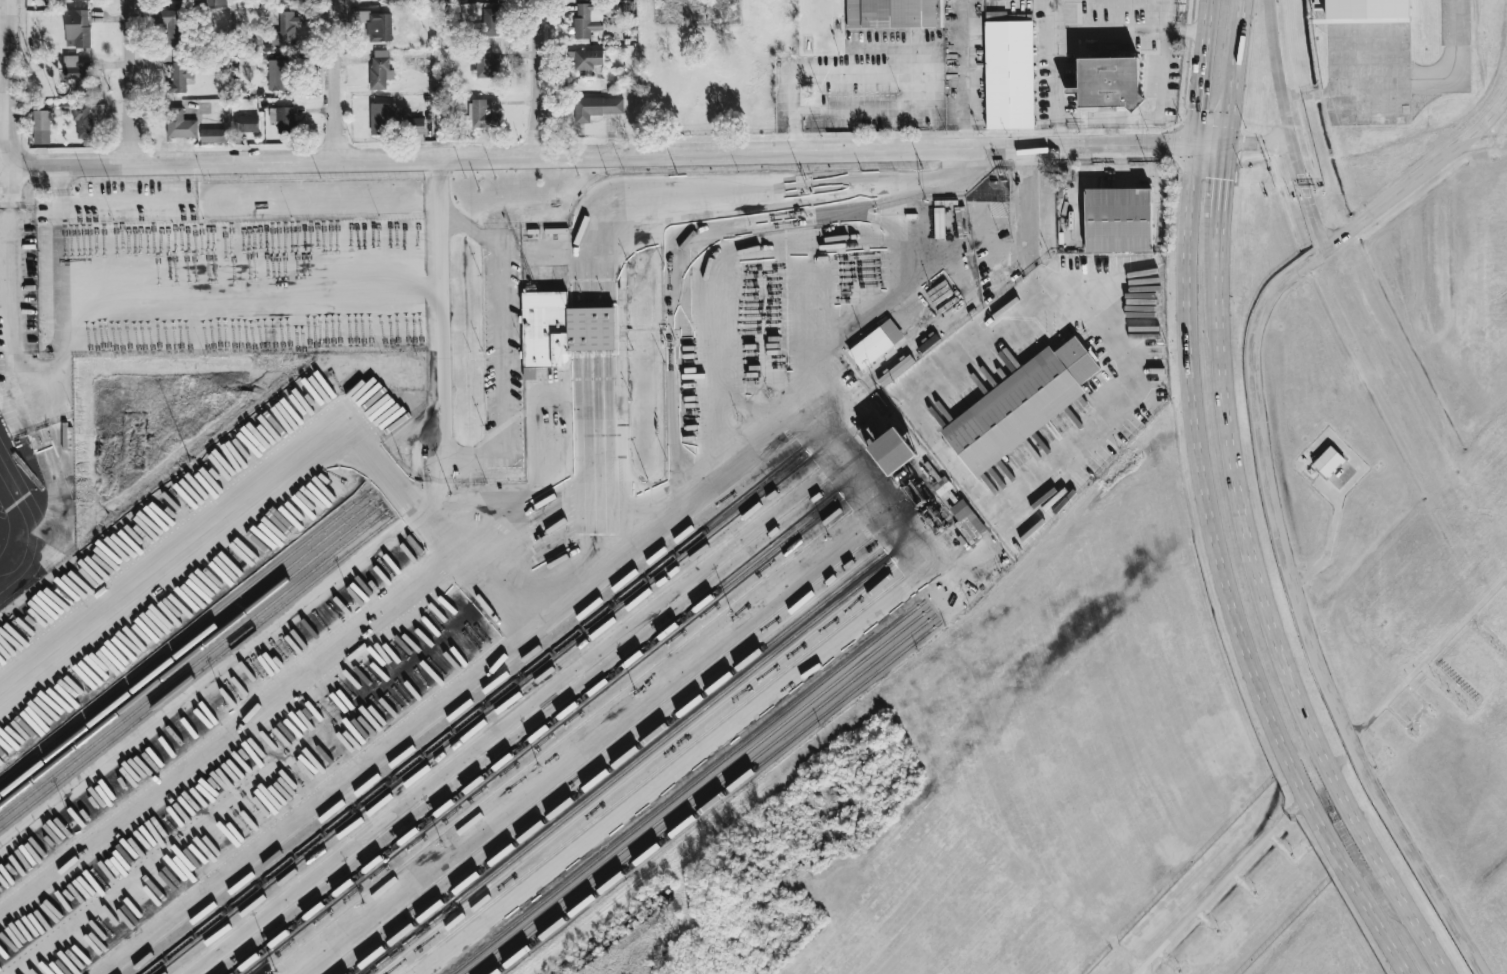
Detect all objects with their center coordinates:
building: (80, 0)
building: (173, 0)
building: (459, 1)
building: (57, 2)
building: (218, 2)
building: (1373, 12)
building: (893, 15)
building: (588, 19)
building: (487, 23)
building: (379, 27)
building: (77, 28)
building: (172, 28)
building: (285, 29)
road: (1111, 35)
road: (1164, 42)
airport taxiway: (1456, 57)
building: (587, 59)
building: (484, 64)
road: (539, 65)
road: (335, 67)
building: (380, 68)
building: (76, 69)
road: (128, 70)
road: (1232, 70)
road: (1058, 73)
road: (963, 74)
building: (1012, 74)
airport apron: (1371, 74)
building: (279, 75)
building: (181, 77)
building: (1115, 78)
road: (7, 84)
road: (1284, 91)
building: (596, 107)
road: (794, 109)
building: (486, 113)
building: (87, 118)
building: (382, 118)
building: (283, 119)
road: (4, 120)
building: (181, 121)
building: (248, 123)
building: (449, 123)
building: (41, 127)
building: (213, 135)
road: (1259, 141)
traffic signals: (1225, 142)
traffic signals: (1202, 143)
road: (540, 144)
road: (337, 148)
road: (920, 149)
road: (129, 153)
road: (312, 162)
road: (805, 177)
road: (1222, 180)
road: (61, 186)
road: (254, 200)
road: (1315, 214)
building: (1118, 220)
road: (6, 239)
road: (14, 280)
road: (250, 291)
road: (446, 308)
road: (502, 314)
building: (562, 328)
building: (880, 342)
building: (529, 373)
road: (58, 379)
building: (1028, 402)
road: (533, 418)
road: (377, 438)
road: (771, 438)
building: (899, 448)
road: (492, 454)
road: (1068, 454)
building: (1332, 463)
road: (446, 481)
building: (945, 483)
road: (1270, 500)
airport: (1363, 506)
road: (1215, 507)
building: (972, 522)
road: (21, 528)
road: (1330, 550)
road: (179, 553)
road: (480, 596)
road: (895, 596)
road: (1274, 615)
railway: (191, 635)
road: (262, 638)
railway: (194, 644)
railway: (197, 653)
road: (1428, 658)
railway: (200, 662)
railway: (203, 668)
railway: (472, 718)
road: (246, 720)
railway: (537, 735)
railway: (620, 764)
railway: (627, 767)
road: (393, 860)
road: (1223, 881)

